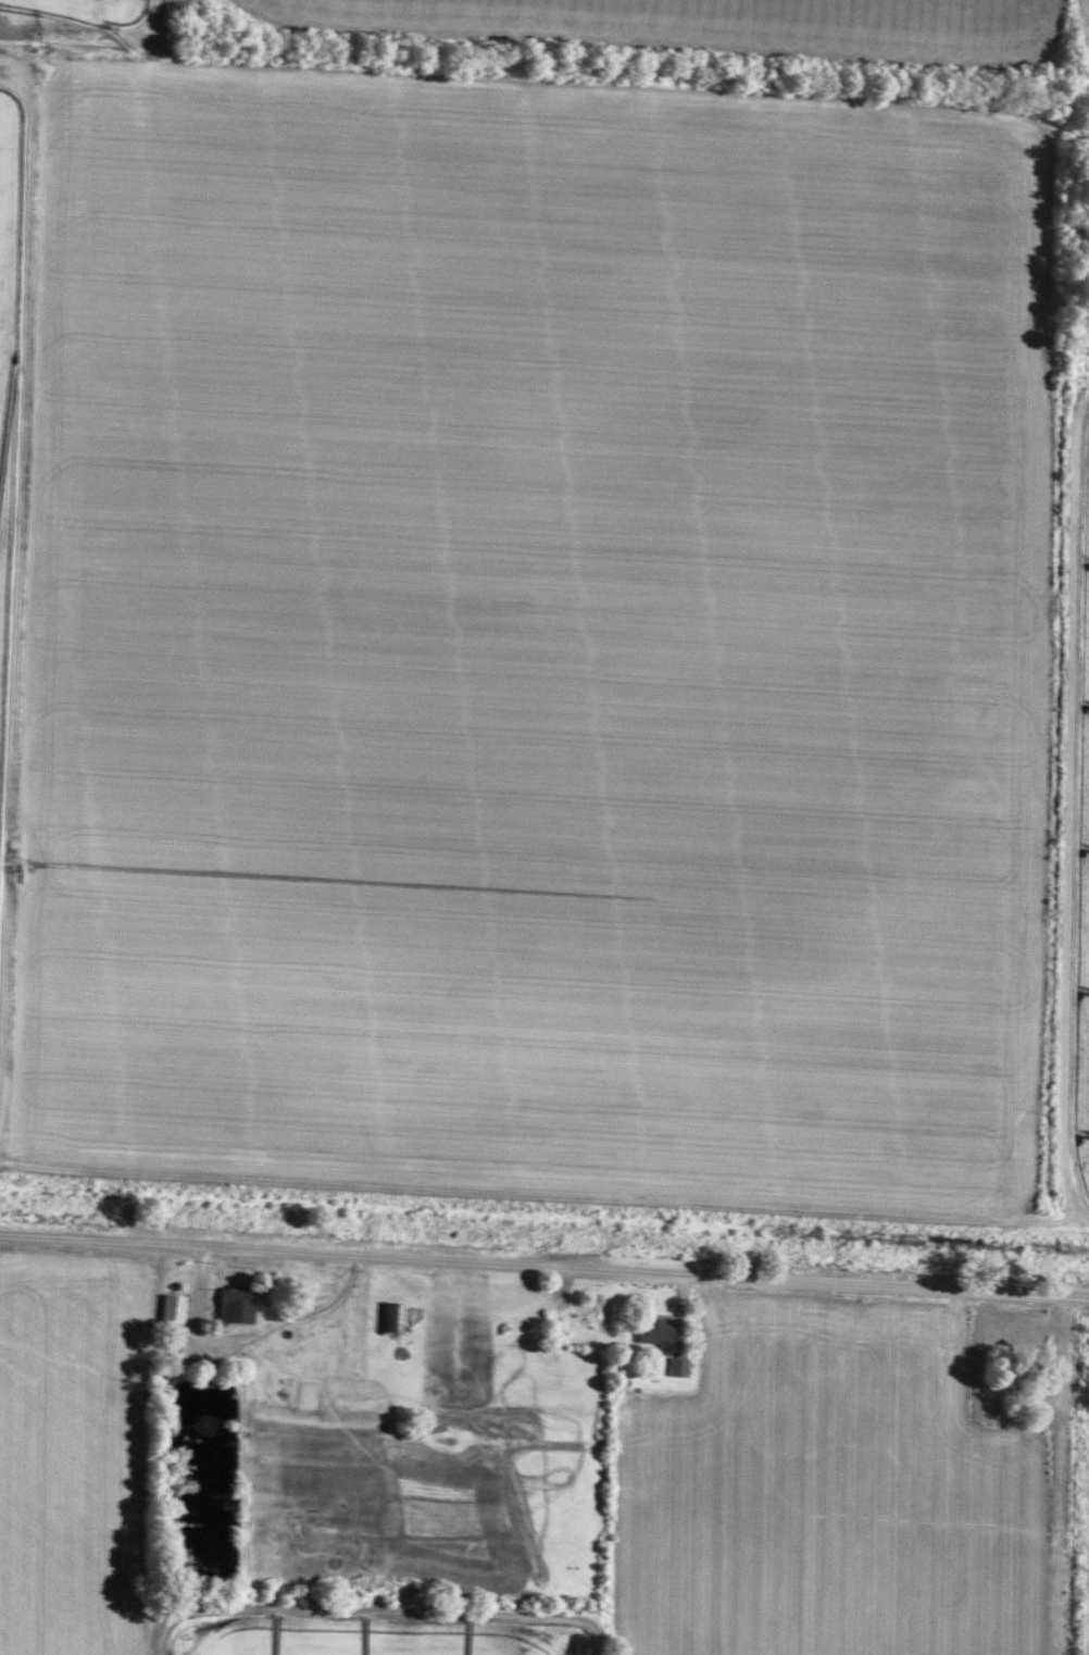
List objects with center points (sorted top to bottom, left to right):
road: (543, 1266)
building: (231, 1304)
building: (388, 1317)
building: (578, 1320)
building: (651, 1332)
building: (675, 1367)

